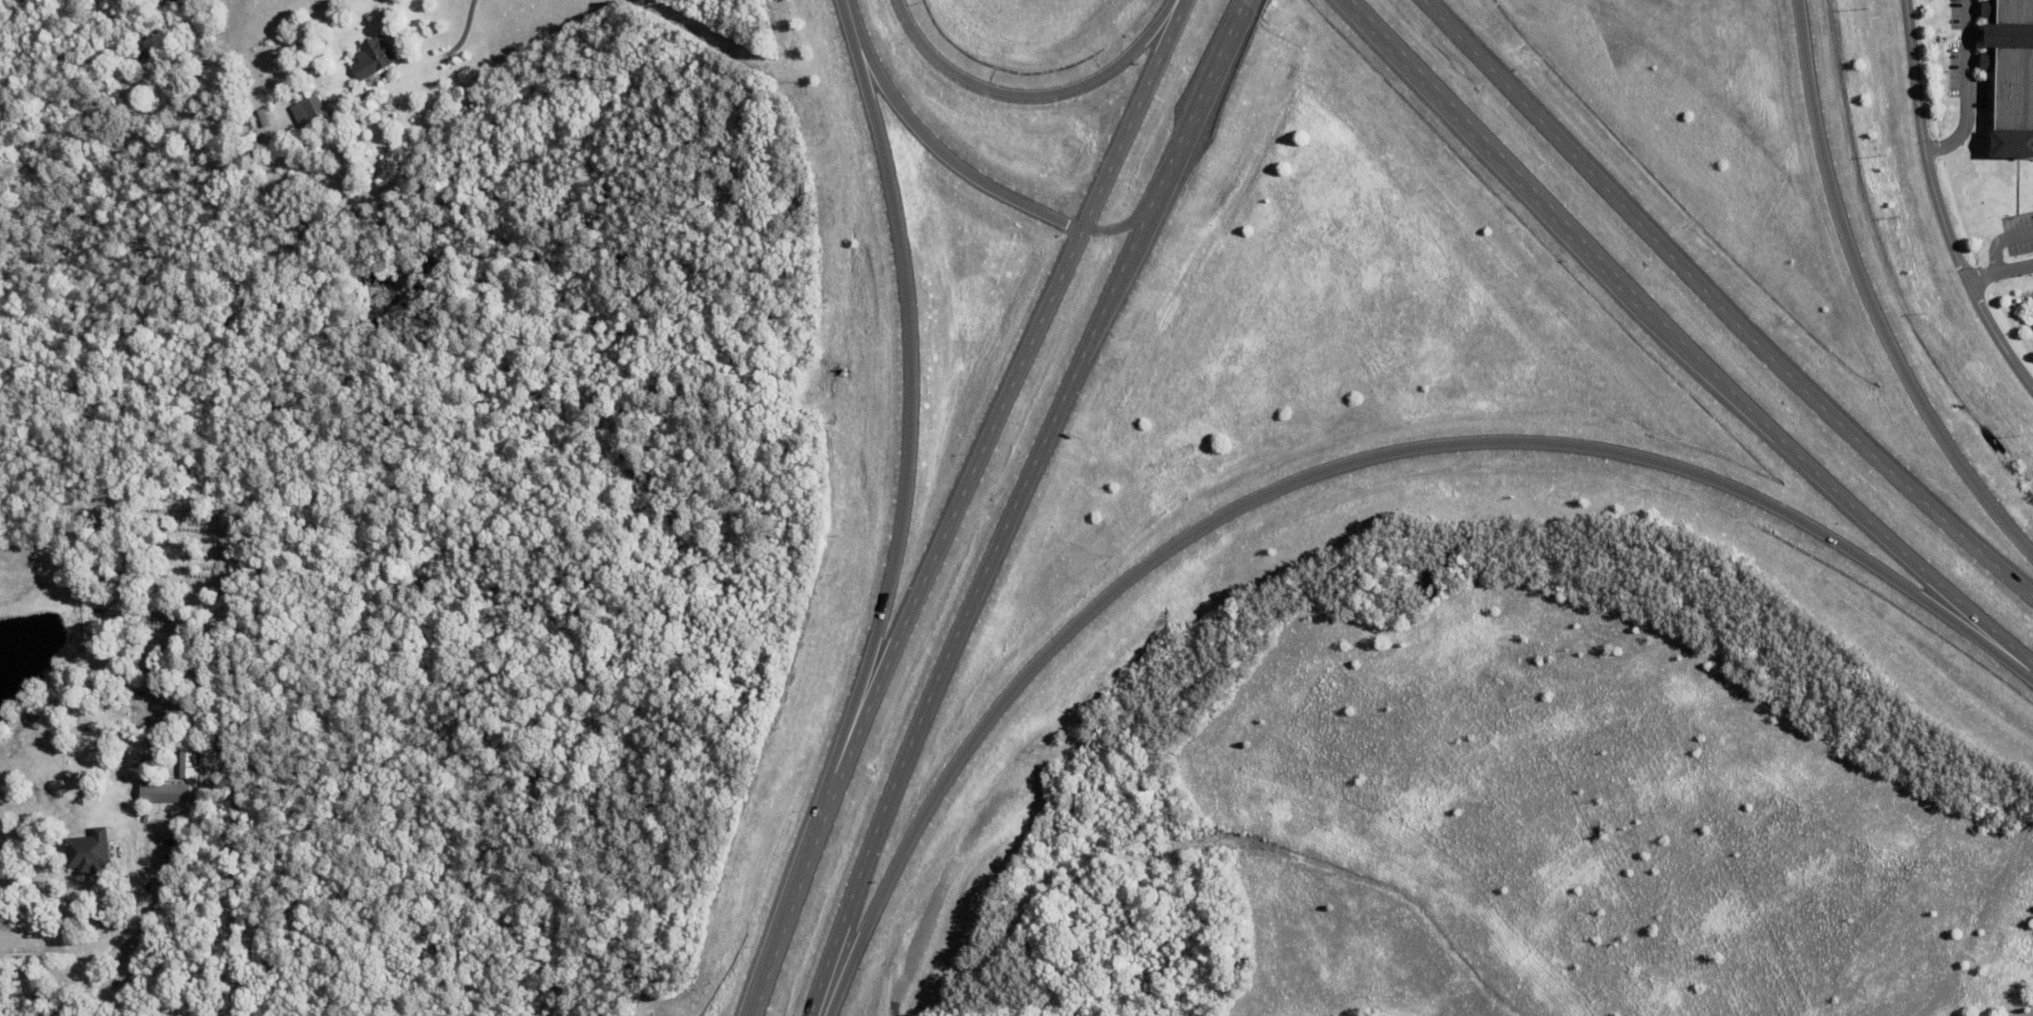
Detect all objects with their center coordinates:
road: (1238, 1)
road: (465, 23)
building: (374, 60)
building: (2010, 77)
building: (295, 87)
road: (1965, 88)
road: (1030, 98)
building: (309, 113)
road: (1131, 114)
road: (936, 152)
road: (1936, 207)
road: (1116, 227)
road: (1999, 274)
road: (1866, 299)
road: (1718, 308)
road: (1680, 344)
road: (908, 405)
road: (1327, 471)
road: (1012, 504)
road: (907, 619)
building: (161, 793)
building: (150, 813)
building: (166, 836)
building: (89, 855)
road: (932, 905)

